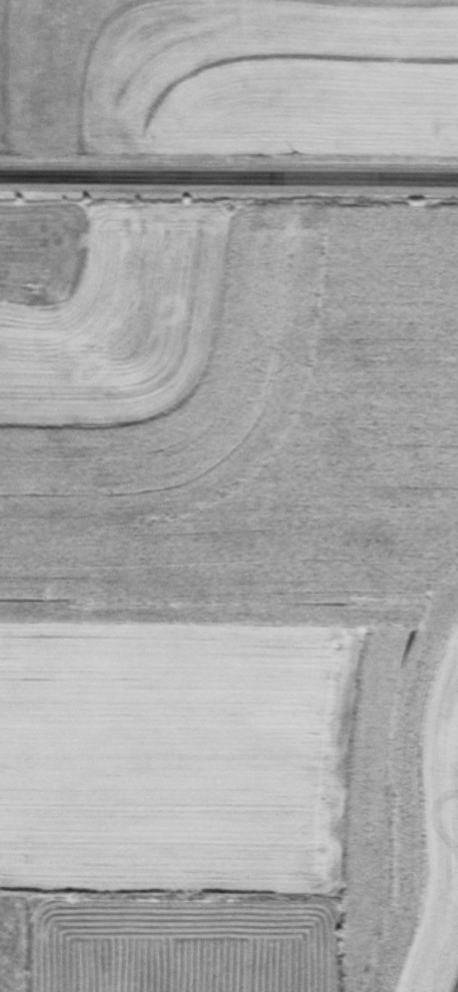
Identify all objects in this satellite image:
road: (229, 174)

